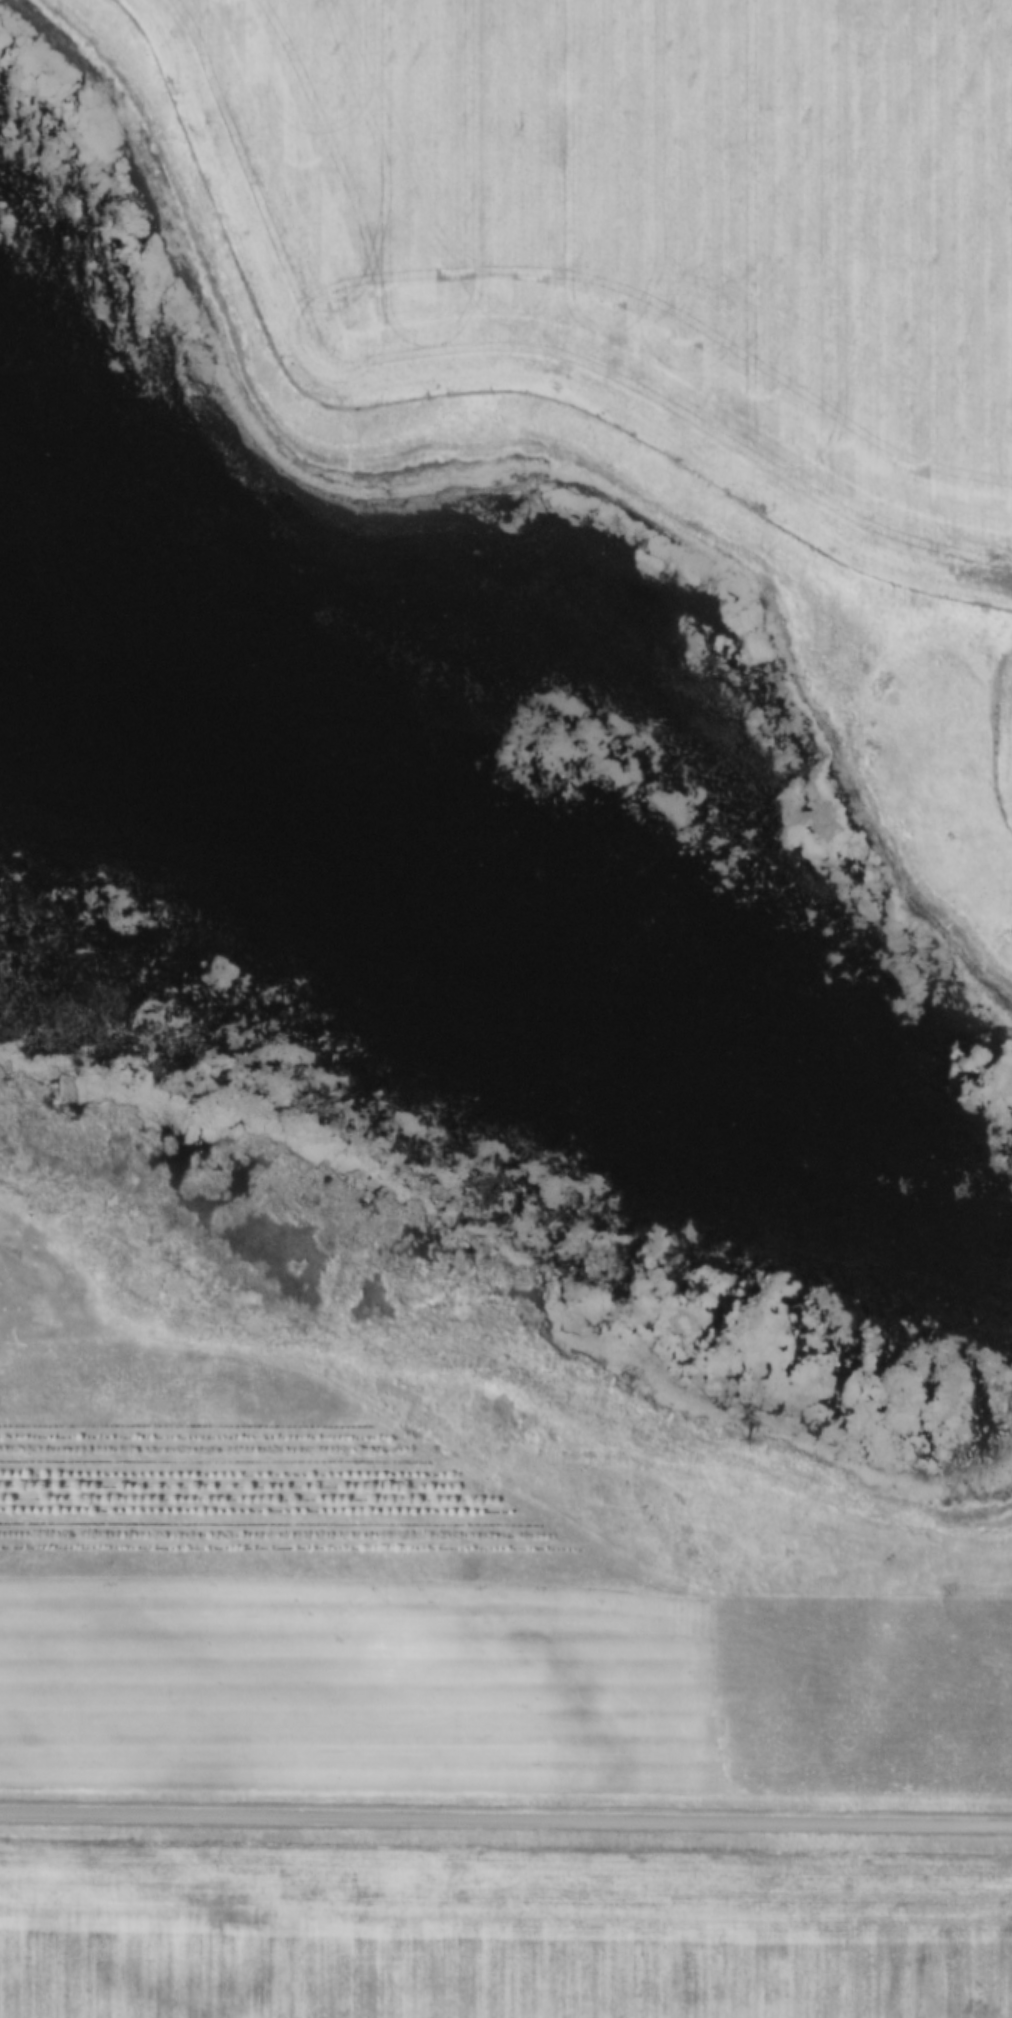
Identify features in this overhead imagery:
road: (505, 1815)

